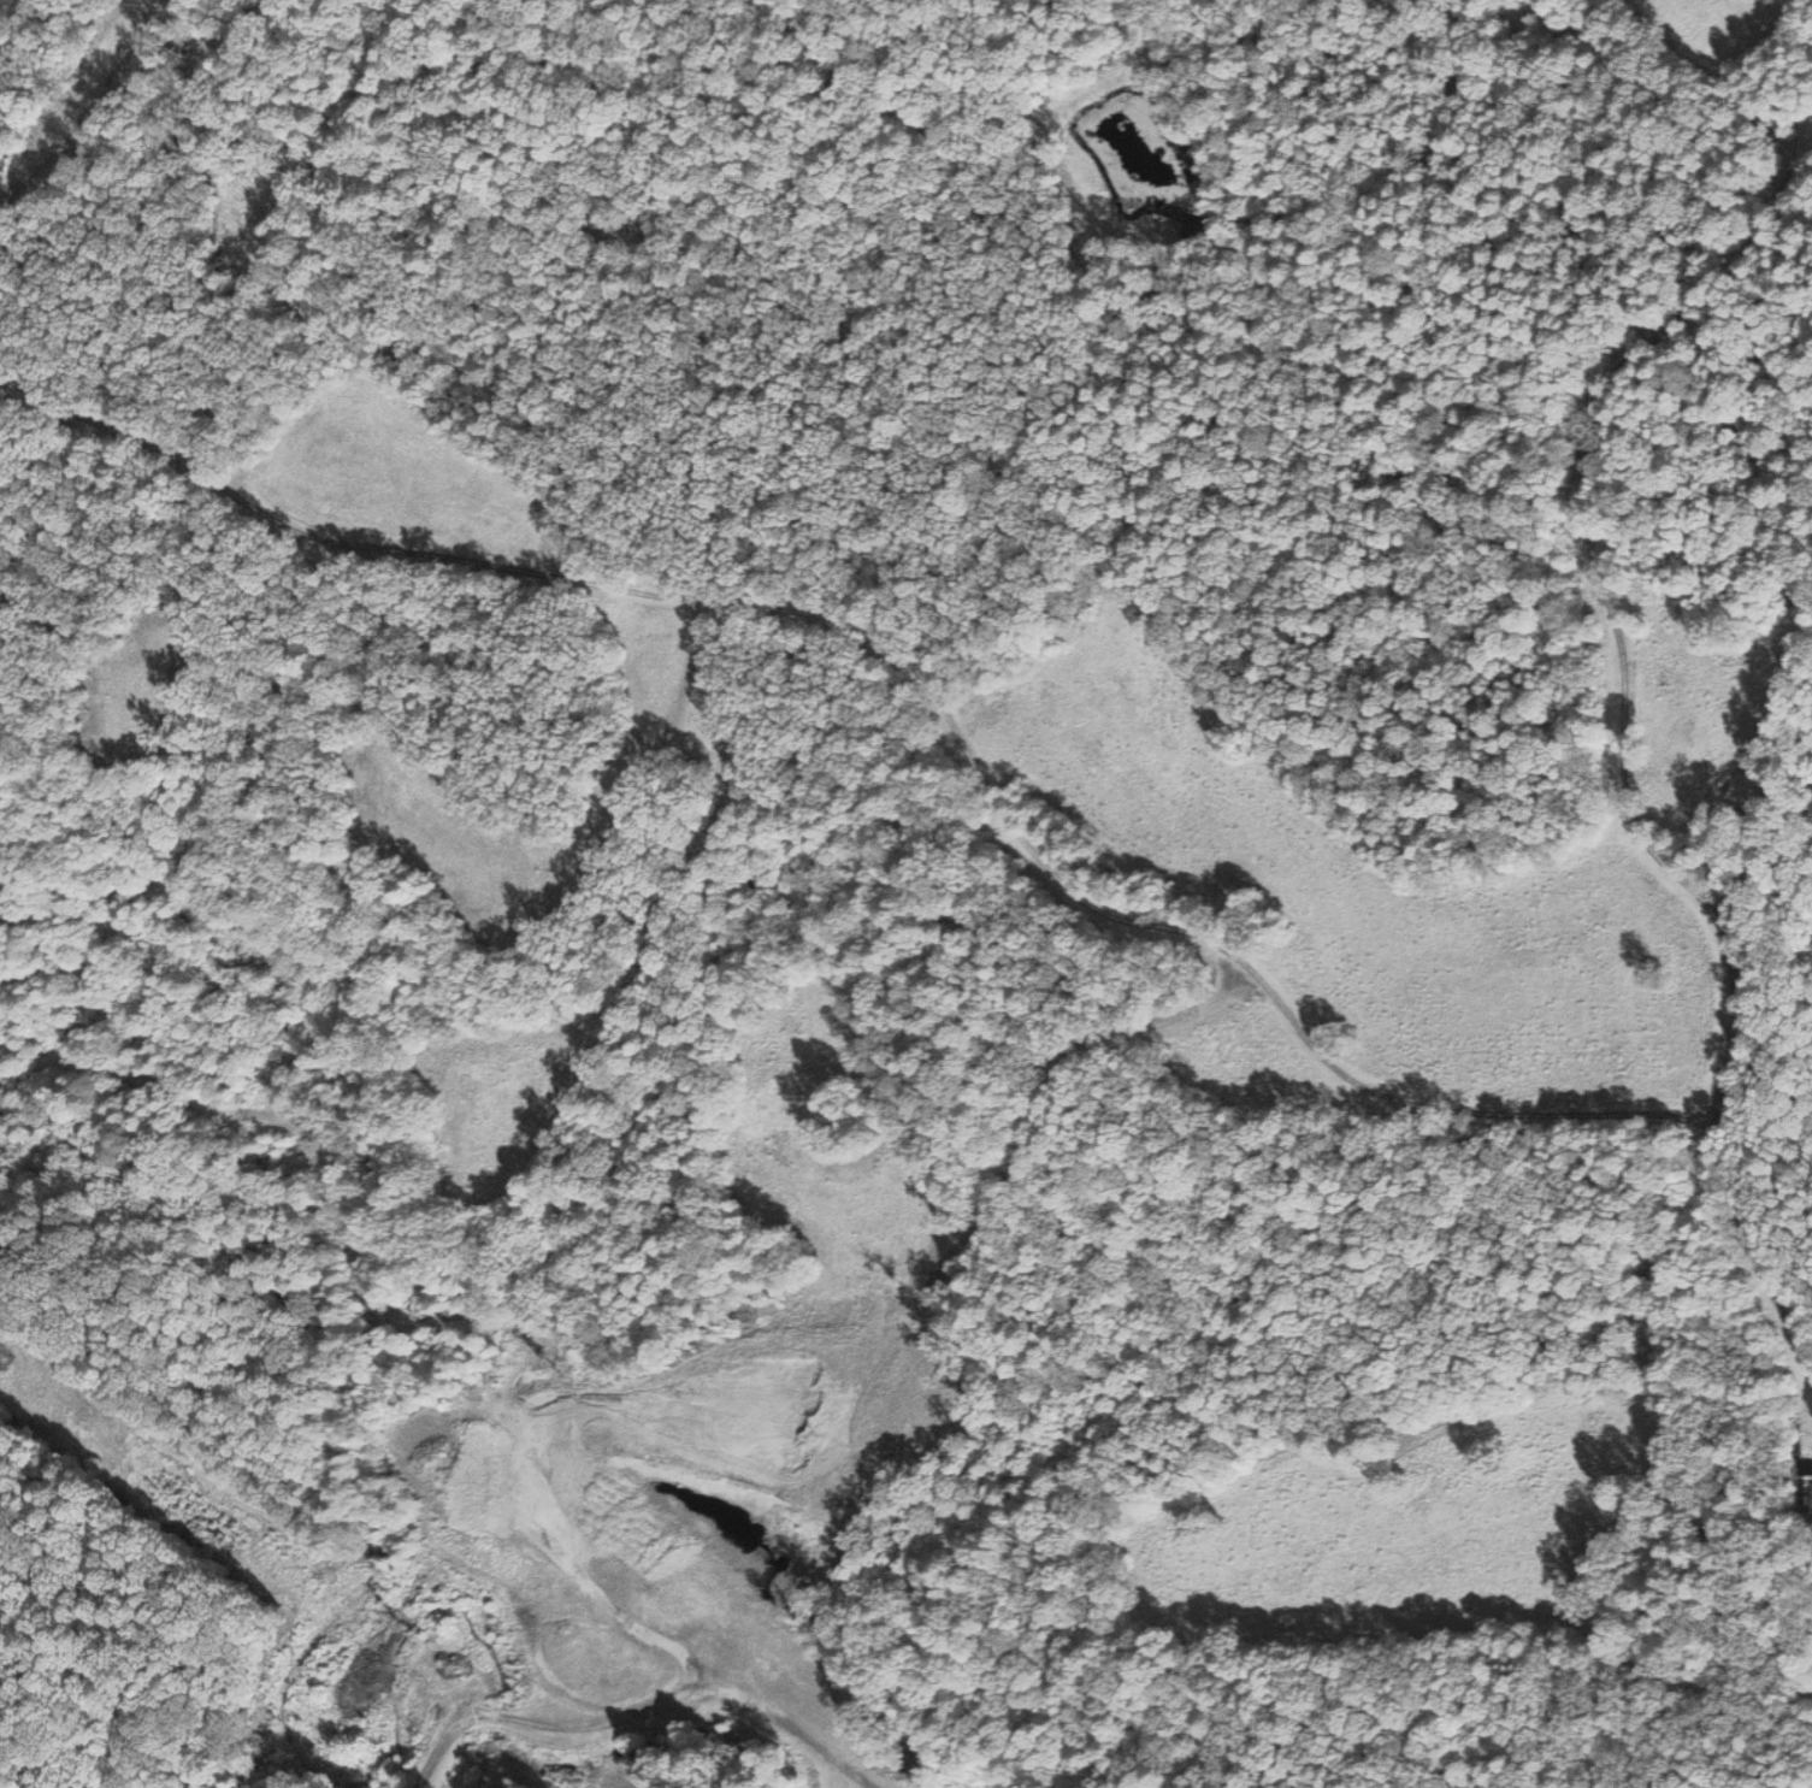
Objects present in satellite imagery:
power tower: (1, 1355)
road: (637, 1715)

